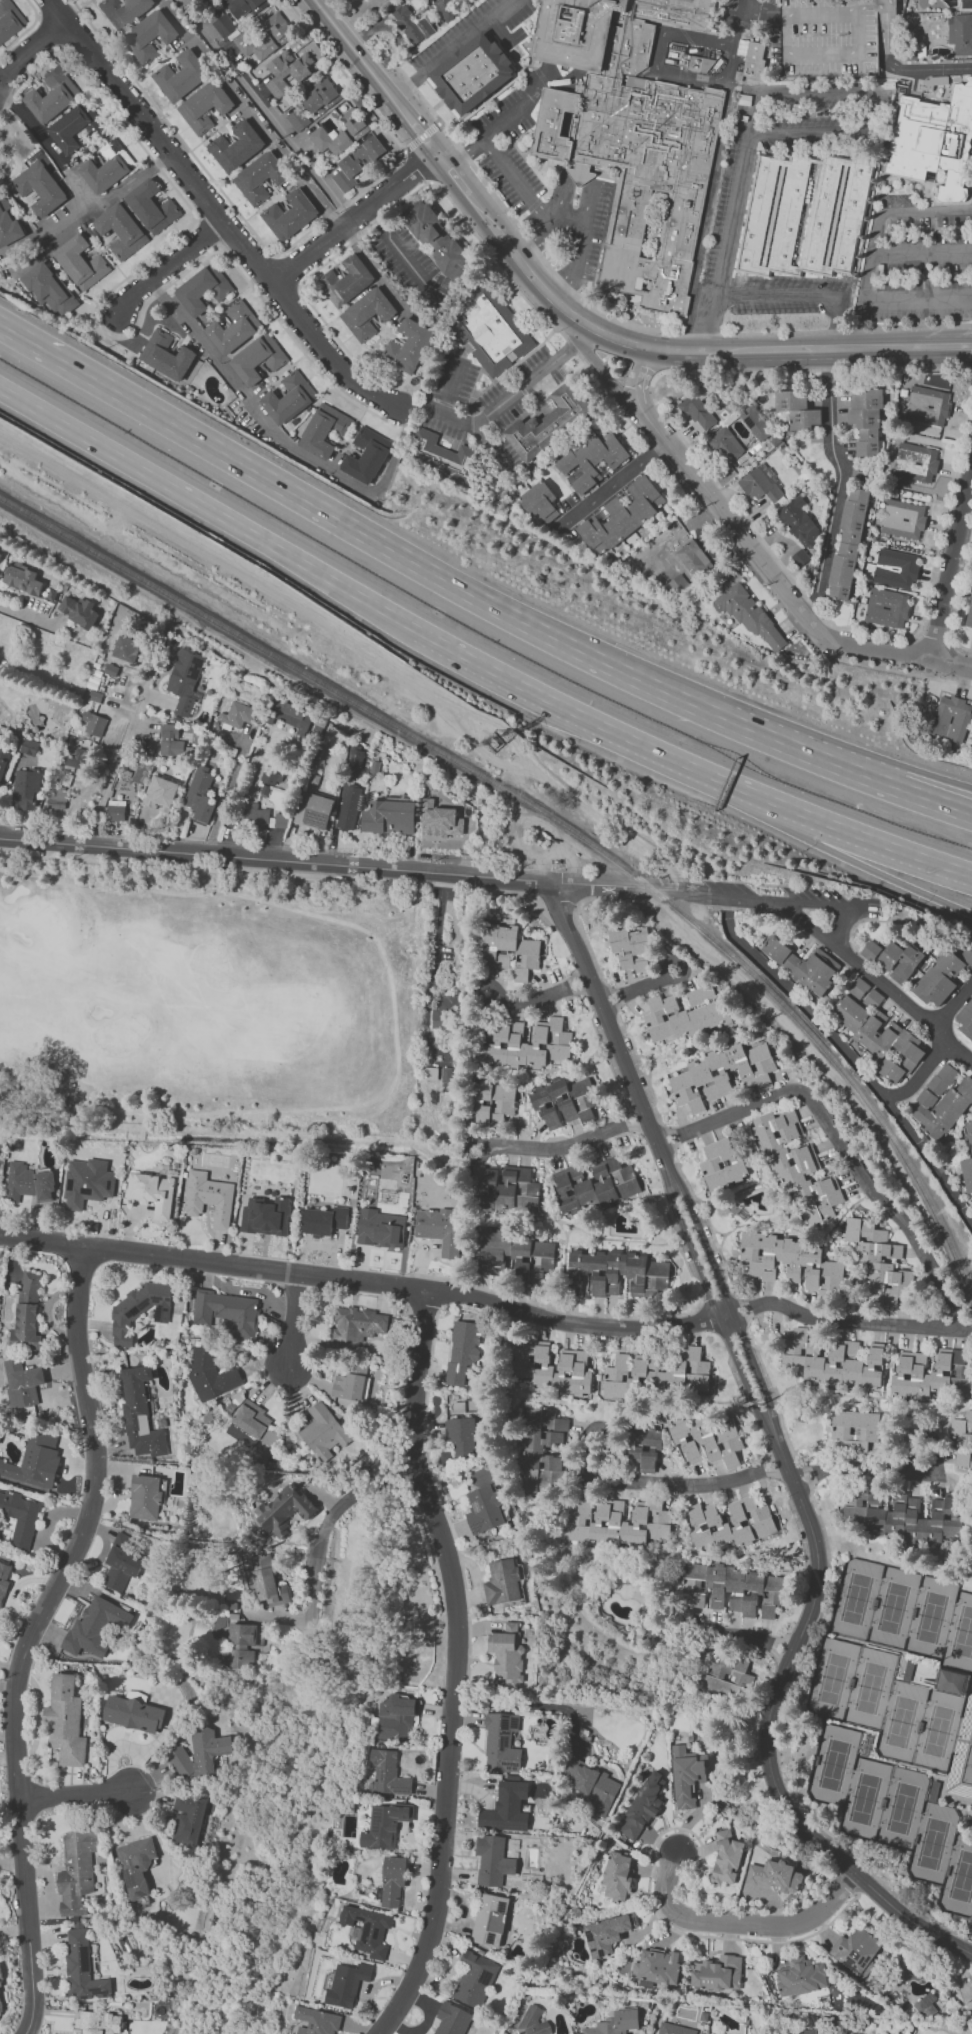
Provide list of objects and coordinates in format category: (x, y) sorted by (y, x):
building: (202, 1)
building: (966, 4)
building: (243, 7)
building: (446, 8)
road: (762, 10)
building: (122, 11)
building: (8, 19)
road: (738, 22)
building: (411, 25)
building: (225, 26)
building: (960, 35)
building: (149, 36)
building: (264, 36)
building: (830, 38)
parking lot: (830, 38)
road: (452, 47)
road: (25, 54)
building: (752, 56)
building: (688, 58)
road: (657, 63)
building: (291, 68)
road: (924, 68)
building: (473, 74)
road: (376, 75)
building: (180, 76)
building: (52, 95)
building: (320, 95)
building: (204, 106)
road: (267, 109)
building: (297, 119)
building: (74, 127)
building: (340, 134)
road: (488, 136)
road: (419, 137)
building: (632, 137)
building: (934, 141)
building: (236, 146)
road: (59, 158)
building: (357, 162)
building: (108, 167)
road: (415, 167)
building: (260, 177)
road: (517, 179)
road: (458, 180)
road: (586, 181)
road: (132, 183)
building: (39, 188)
road: (709, 190)
road: (734, 199)
building: (152, 206)
road: (215, 213)
building: (290, 215)
building: (804, 217)
road: (354, 218)
building: (8, 224)
road: (566, 229)
building: (121, 231)
road: (535, 237)
building: (436, 239)
road: (287, 247)
road: (922, 254)
road: (403, 255)
building: (81, 262)
road: (870, 266)
road: (169, 267)
road: (572, 273)
road: (510, 278)
building: (345, 280)
building: (49, 289)
building: (203, 289)
road: (552, 297)
road: (773, 297)
building: (367, 313)
road: (625, 321)
road: (831, 322)
road: (707, 323)
building: (234, 328)
building: (488, 328)
building: (408, 346)
road: (937, 347)
road: (773, 349)
building: (167, 355)
road: (60, 357)
building: (258, 359)
road: (625, 363)
road: (969, 365)
road: (812, 369)
road: (608, 375)
building: (289, 398)
road: (499, 401)
building: (927, 405)
road: (420, 407)
building: (797, 409)
building: (698, 410)
building: (866, 420)
building: (546, 422)
building: (755, 423)
building: (325, 430)
road: (282, 444)
building: (725, 445)
building: (367, 455)
building: (443, 456)
building: (592, 459)
building: (915, 462)
road: (842, 483)
building: (760, 484)
road: (613, 485)
building: (538, 502)
road: (713, 502)
road: (209, 509)
building: (622, 515)
building: (903, 519)
building: (800, 522)
building: (848, 546)
building: (0, 551)
building: (800, 557)
building: (694, 559)
road: (416, 561)
building: (895, 568)
road: (953, 573)
building: (22, 578)
building: (678, 583)
building: (887, 607)
building: (78, 610)
building: (748, 614)
building: (969, 615)
road: (26, 616)
building: (125, 648)
road: (898, 654)
building: (185, 680)
road: (313, 690)
building: (94, 696)
building: (237, 714)
building: (290, 715)
building: (950, 718)
building: (94, 723)
road: (602, 725)
building: (170, 740)
building: (29, 746)
road: (794, 747)
power tower: (497, 748)
building: (3, 757)
building: (77, 757)
road: (121, 757)
building: (361, 763)
building: (141, 772)
road: (921, 773)
building: (272, 775)
building: (26, 788)
building: (160, 793)
building: (201, 794)
road: (227, 795)
road: (921, 796)
building: (56, 798)
building: (349, 807)
building: (116, 810)
building: (313, 810)
building: (389, 815)
building: (259, 817)
building: (279, 819)
railway: (555, 820)
building: (440, 821)
road: (881, 843)
road: (276, 859)
road: (874, 872)
road: (287, 873)
road: (633, 880)
road: (618, 885)
road: (650, 895)
road: (559, 898)
road: (607, 899)
road: (780, 902)
road: (841, 927)
road: (583, 936)
building: (631, 948)
building: (517, 949)
building: (870, 950)
building: (899, 961)
road: (431, 964)
building: (802, 965)
building: (942, 976)
road: (876, 980)
road: (640, 987)
building: (866, 993)
road: (543, 996)
road: (610, 998)
park: (205, 1002)
road: (955, 1005)
building: (445, 1012)
building: (684, 1013)
building: (966, 1019)
building: (877, 1031)
road: (853, 1057)
road: (641, 1067)
building: (891, 1070)
building: (431, 1073)
building: (446, 1074)
building: (720, 1074)
road: (921, 1077)
building: (942, 1079)
road: (845, 1083)
building: (503, 1101)
building: (564, 1101)
building: (943, 1107)
building: (483, 1110)
road: (667, 1140)
road: (565, 1144)
road: (840, 1144)
building: (967, 1161)
building: (722, 1164)
building: (795, 1166)
building: (28, 1182)
building: (593, 1185)
building: (152, 1192)
building: (208, 1198)
building: (266, 1216)
building: (324, 1220)
road: (708, 1224)
building: (380, 1228)
building: (439, 1229)
building: (515, 1255)
building: (790, 1261)
building: (878, 1262)
road: (366, 1282)
building: (140, 1310)
building: (227, 1311)
road: (741, 1311)
building: (27, 1314)
road: (841, 1319)
road: (295, 1321)
building: (358, 1325)
building: (463, 1350)
building: (834, 1363)
building: (555, 1369)
building: (211, 1374)
building: (658, 1374)
building: (930, 1375)
building: (22, 1382)
building: (351, 1383)
road: (775, 1392)
power tower: (758, 1402)
building: (139, 1414)
building: (251, 1418)
building: (854, 1430)
building: (323, 1432)
building: (462, 1435)
building: (707, 1441)
building: (963, 1441)
road: (783, 1448)
building: (646, 1449)
building: (534, 1450)
building: (35, 1459)
road: (409, 1467)
road: (901, 1470)
road: (803, 1477)
road: (618, 1480)
building: (146, 1497)
building: (283, 1509)
building: (484, 1509)
building: (904, 1517)
building: (19, 1518)
building: (732, 1522)
road: (327, 1523)
building: (617, 1523)
building: (121, 1562)
building: (971, 1577)
building: (4, 1578)
building: (268, 1582)
building: (502, 1582)
building: (734, 1590)
park: (856, 1598)
park: (893, 1608)
park: (932, 1618)
building: (95, 1626)
road: (32, 1628)
park: (964, 1633)
road: (742, 1635)
building: (243, 1644)
building: (506, 1656)
road: (456, 1665)
building: (728, 1677)
park: (833, 1678)
building: (952, 1681)
park: (871, 1687)
road: (531, 1704)
building: (133, 1714)
building: (394, 1717)
building: (65, 1720)
park: (902, 1722)
park: (937, 1731)
building: (501, 1743)
building: (200, 1753)
road: (784, 1757)
park: (834, 1765)
building: (387, 1772)
building: (686, 1776)
building: (592, 1787)
road: (78, 1795)
park: (864, 1799)
building: (506, 1807)
building: (641, 1807)
park: (902, 1808)
building: (188, 1818)
building: (385, 1824)
park: (933, 1843)
building: (726, 1859)
building: (136, 1865)
building: (76, 1871)
building: (617, 1875)
building: (775, 1875)
park: (962, 1877)
building: (393, 1880)
building: (490, 1919)
road: (741, 1926)
building: (368, 1929)
building: (605, 1934)
road: (967, 1941)
building: (855, 1949)
building: (656, 1966)
building: (717, 1973)
building: (800, 1976)
building: (474, 1979)
building: (347, 1984)
building: (926, 2005)
building: (452, 2019)
building: (317, 2021)
building: (533, 2022)
building: (616, 2022)
building: (97, 2023)
road: (31, 2027)
building: (674, 2029)
building: (798, 2032)
building: (849, 2033)

